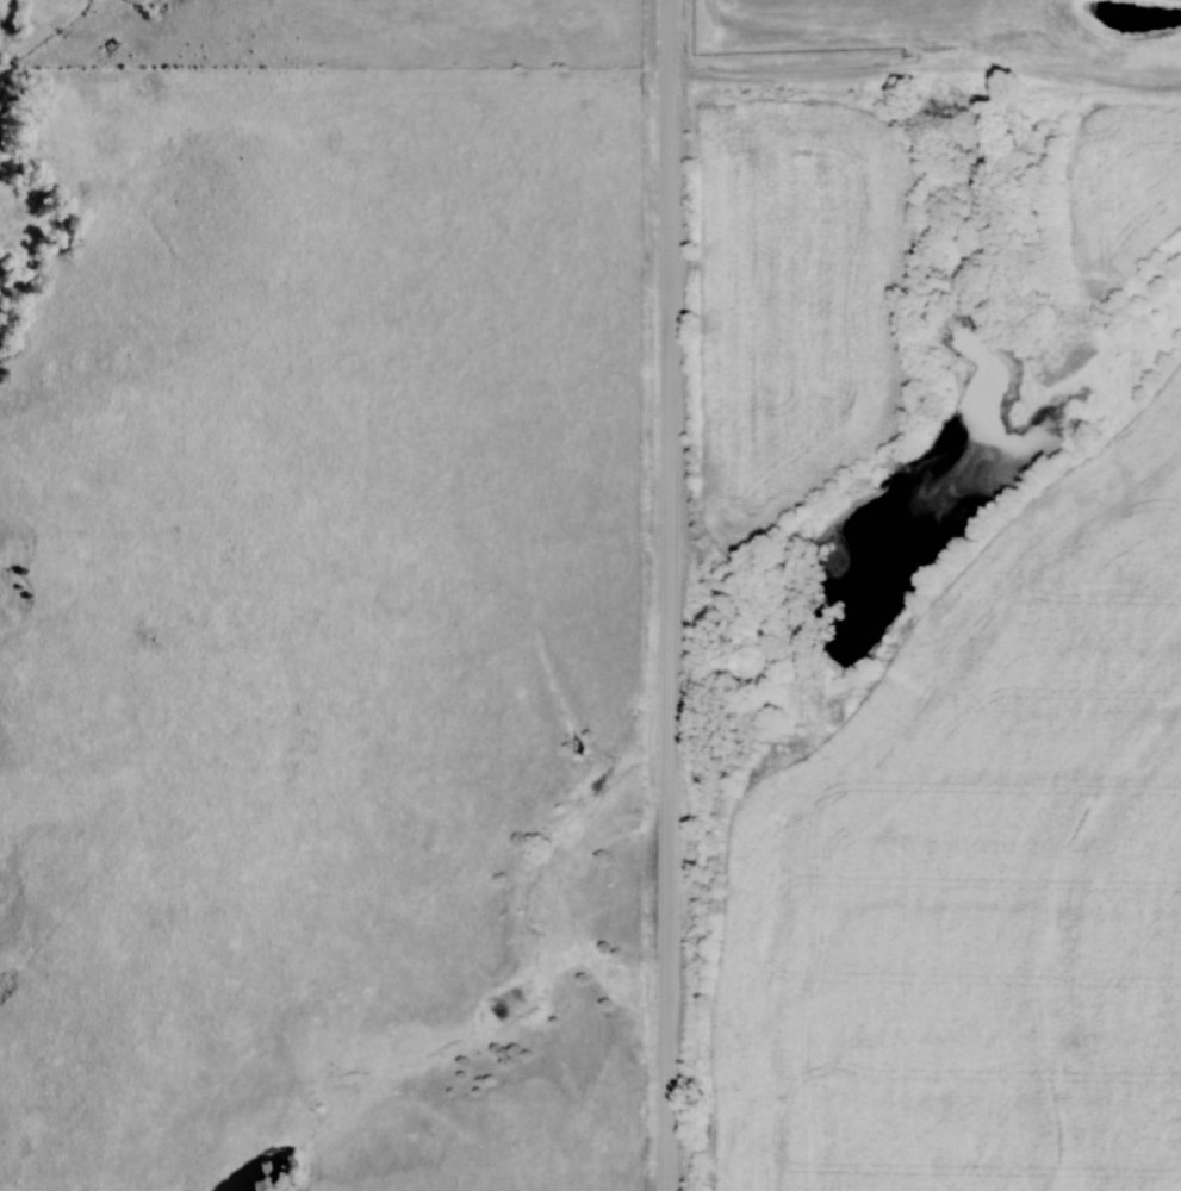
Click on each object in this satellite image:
road: (664, 595)

